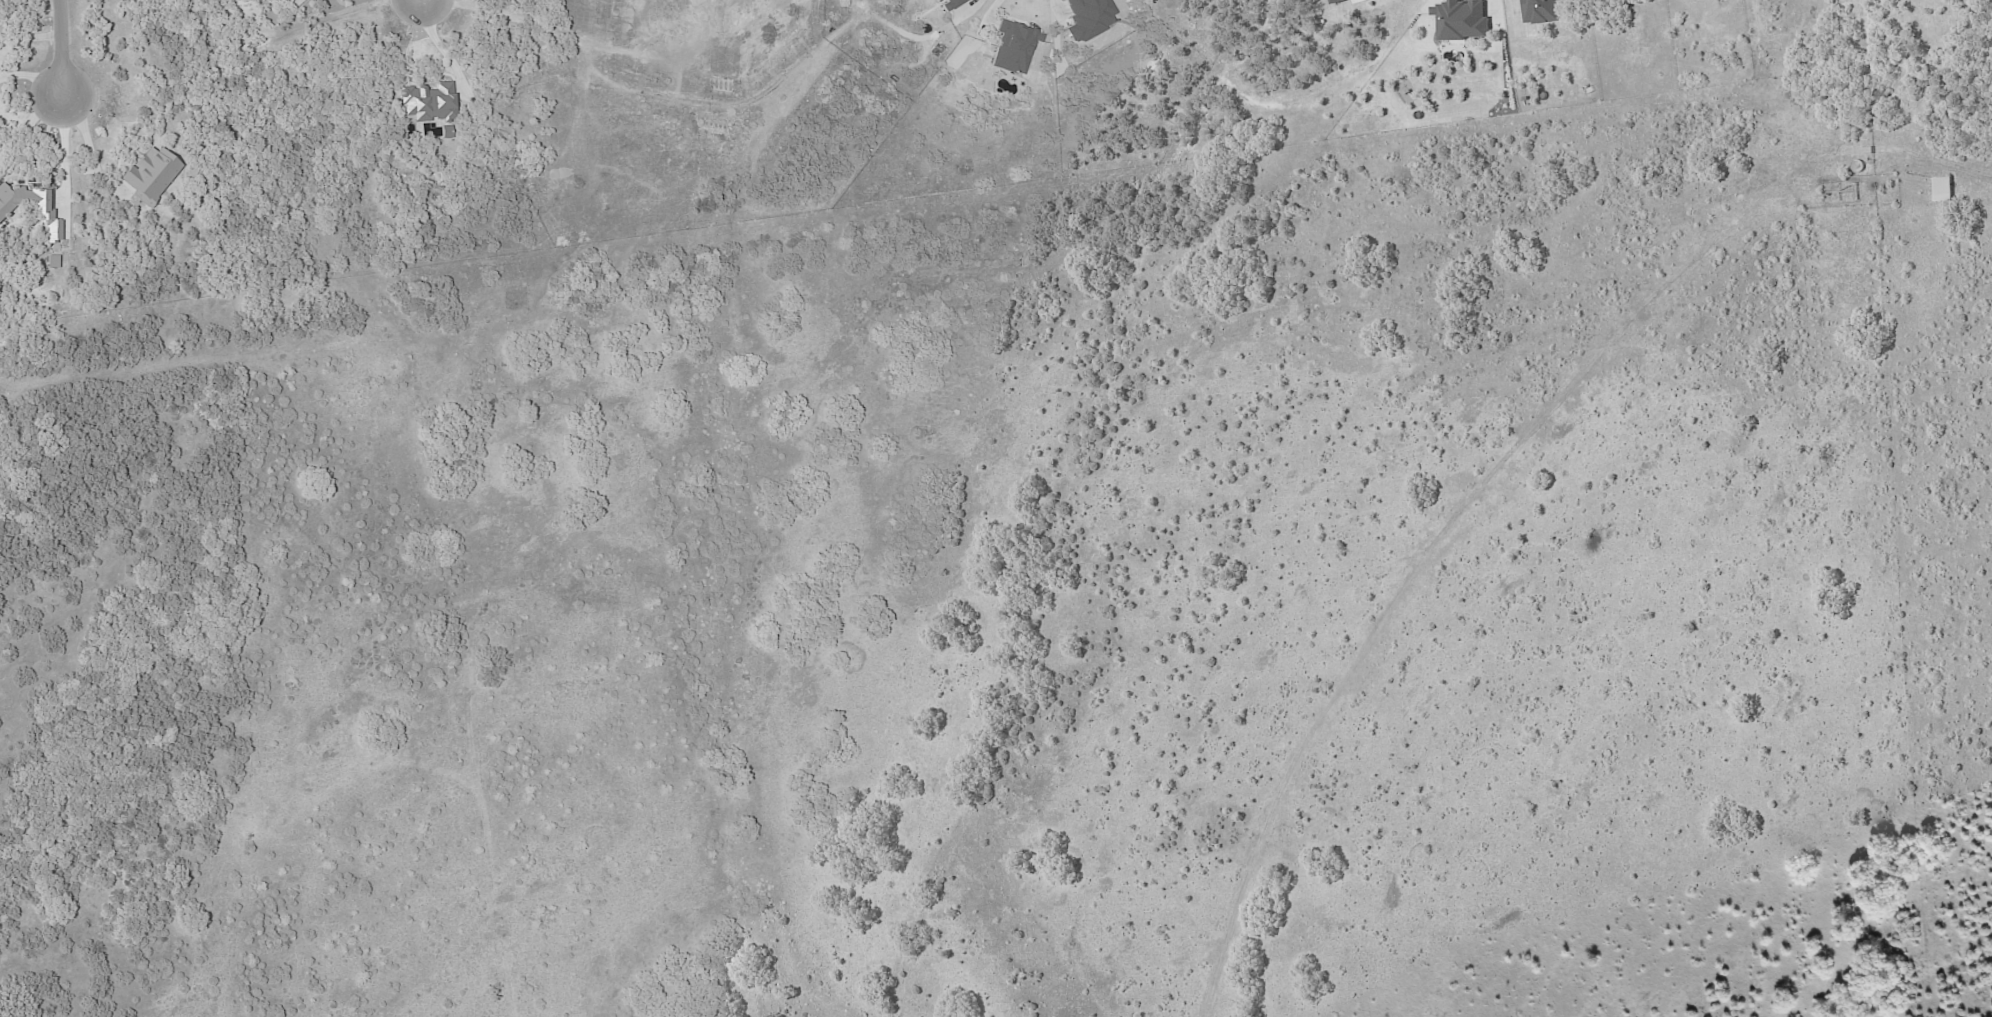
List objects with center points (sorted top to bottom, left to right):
building: (1337, 1)
building: (947, 4)
road: (970, 7)
road: (992, 8)
building: (1540, 11)
building: (1086, 17)
building: (1463, 19)
road: (437, 43)
road: (61, 47)
building: (1012, 47)
road: (31, 76)
building: (427, 102)
road: (30, 122)
road: (84, 153)
road: (60, 166)
building: (149, 174)
building: (1943, 189)
building: (31, 207)

